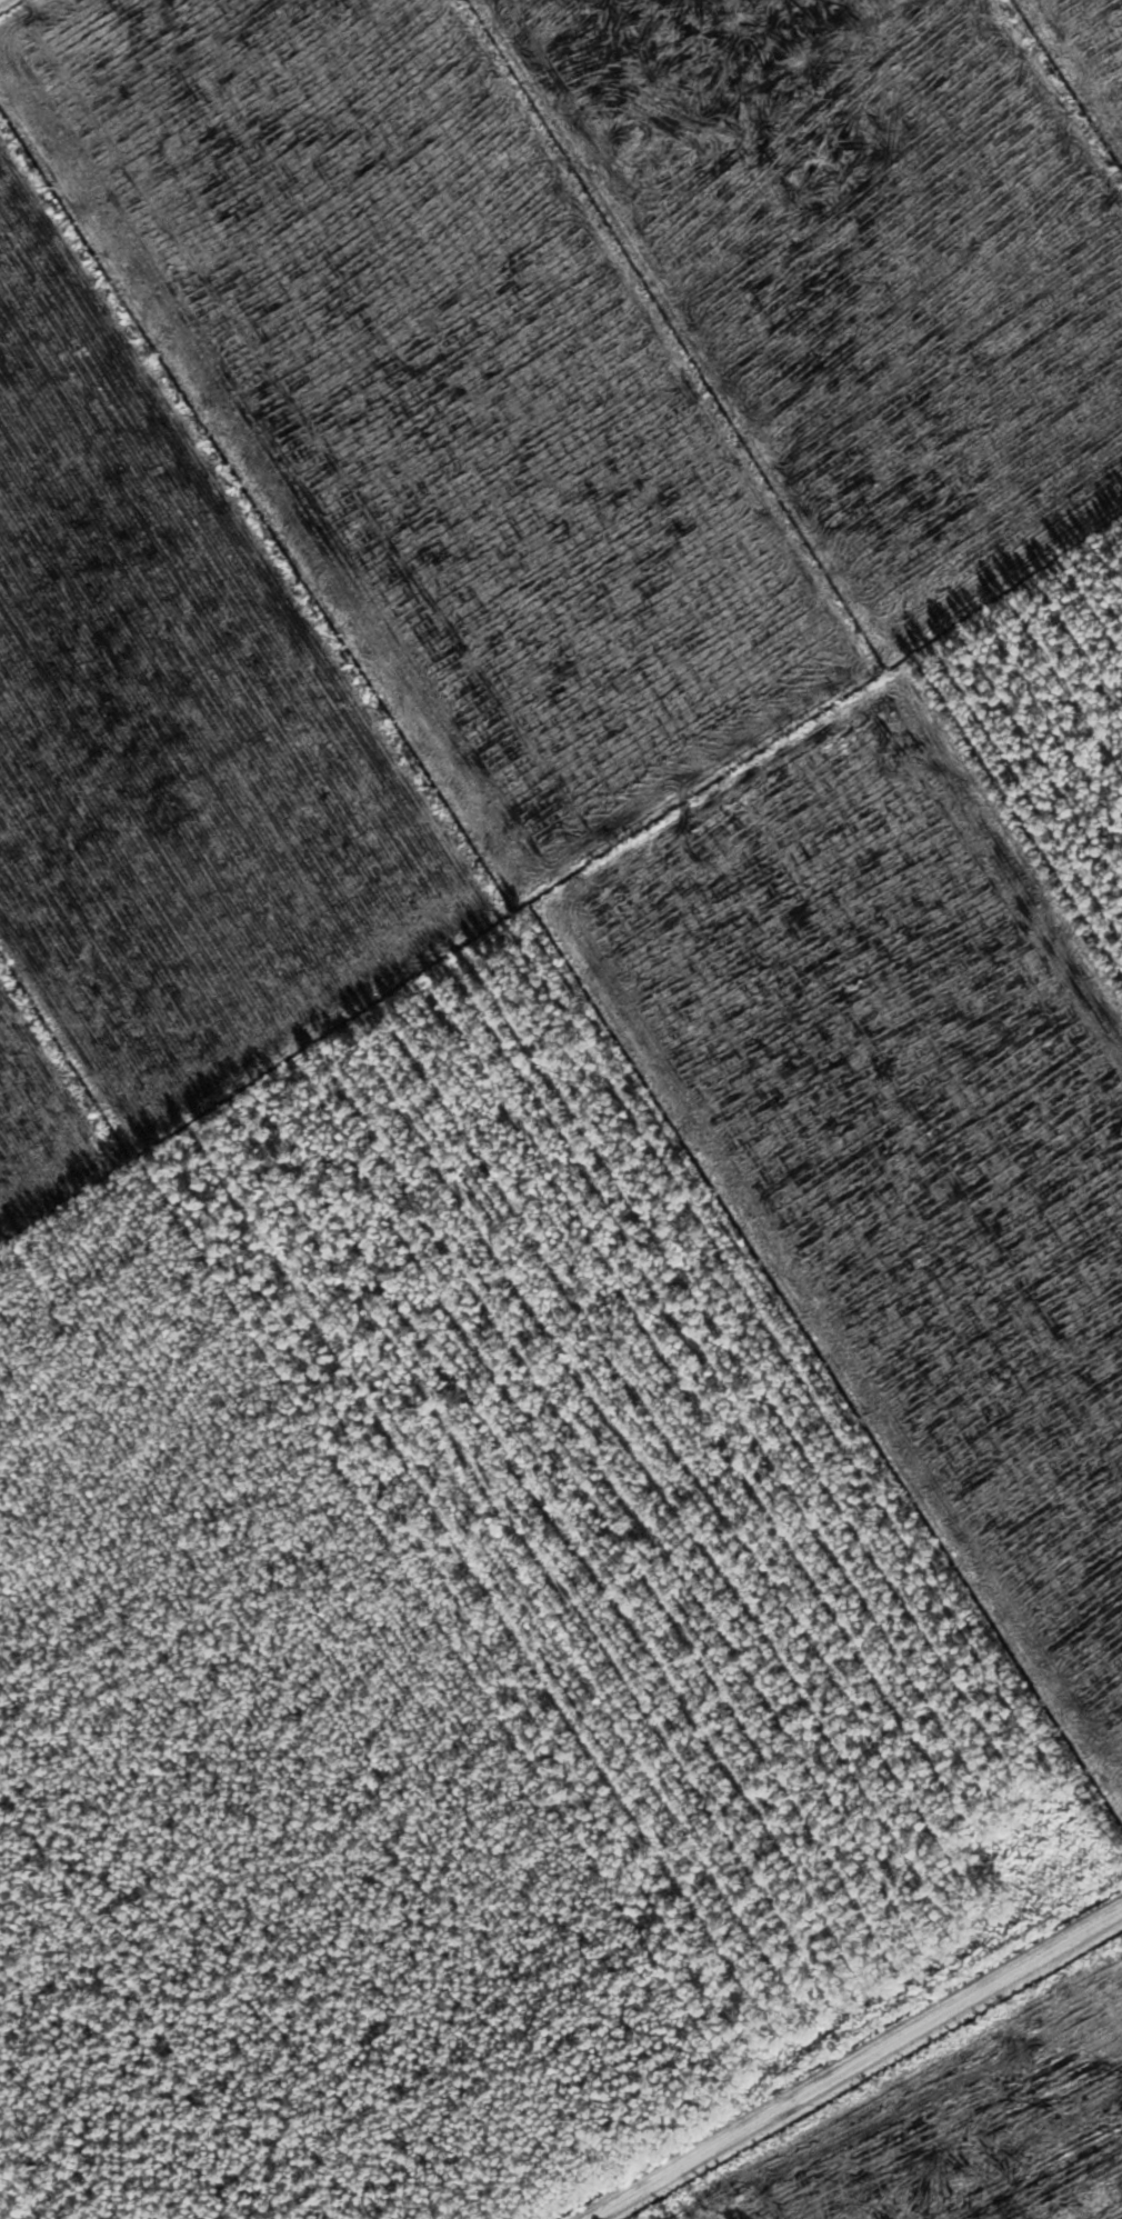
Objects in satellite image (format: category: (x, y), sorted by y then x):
road: (863, 2069)

